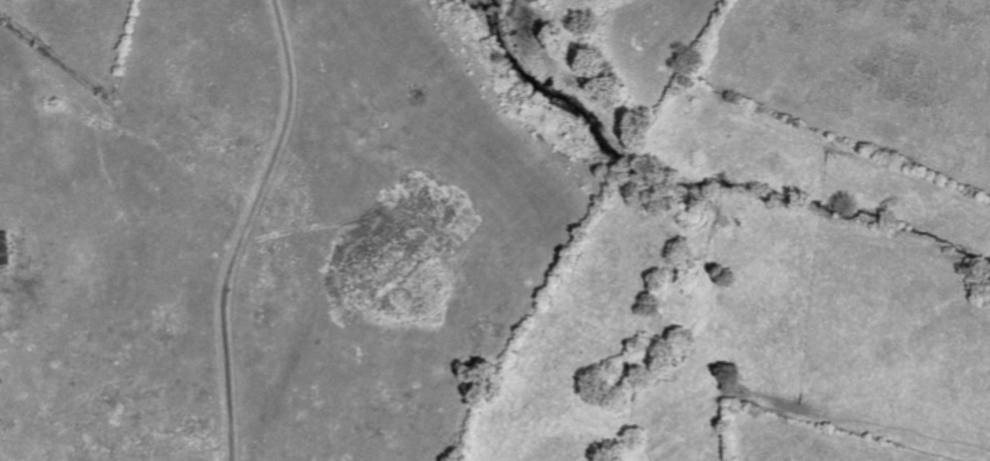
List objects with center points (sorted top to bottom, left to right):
building: (3, 249)

